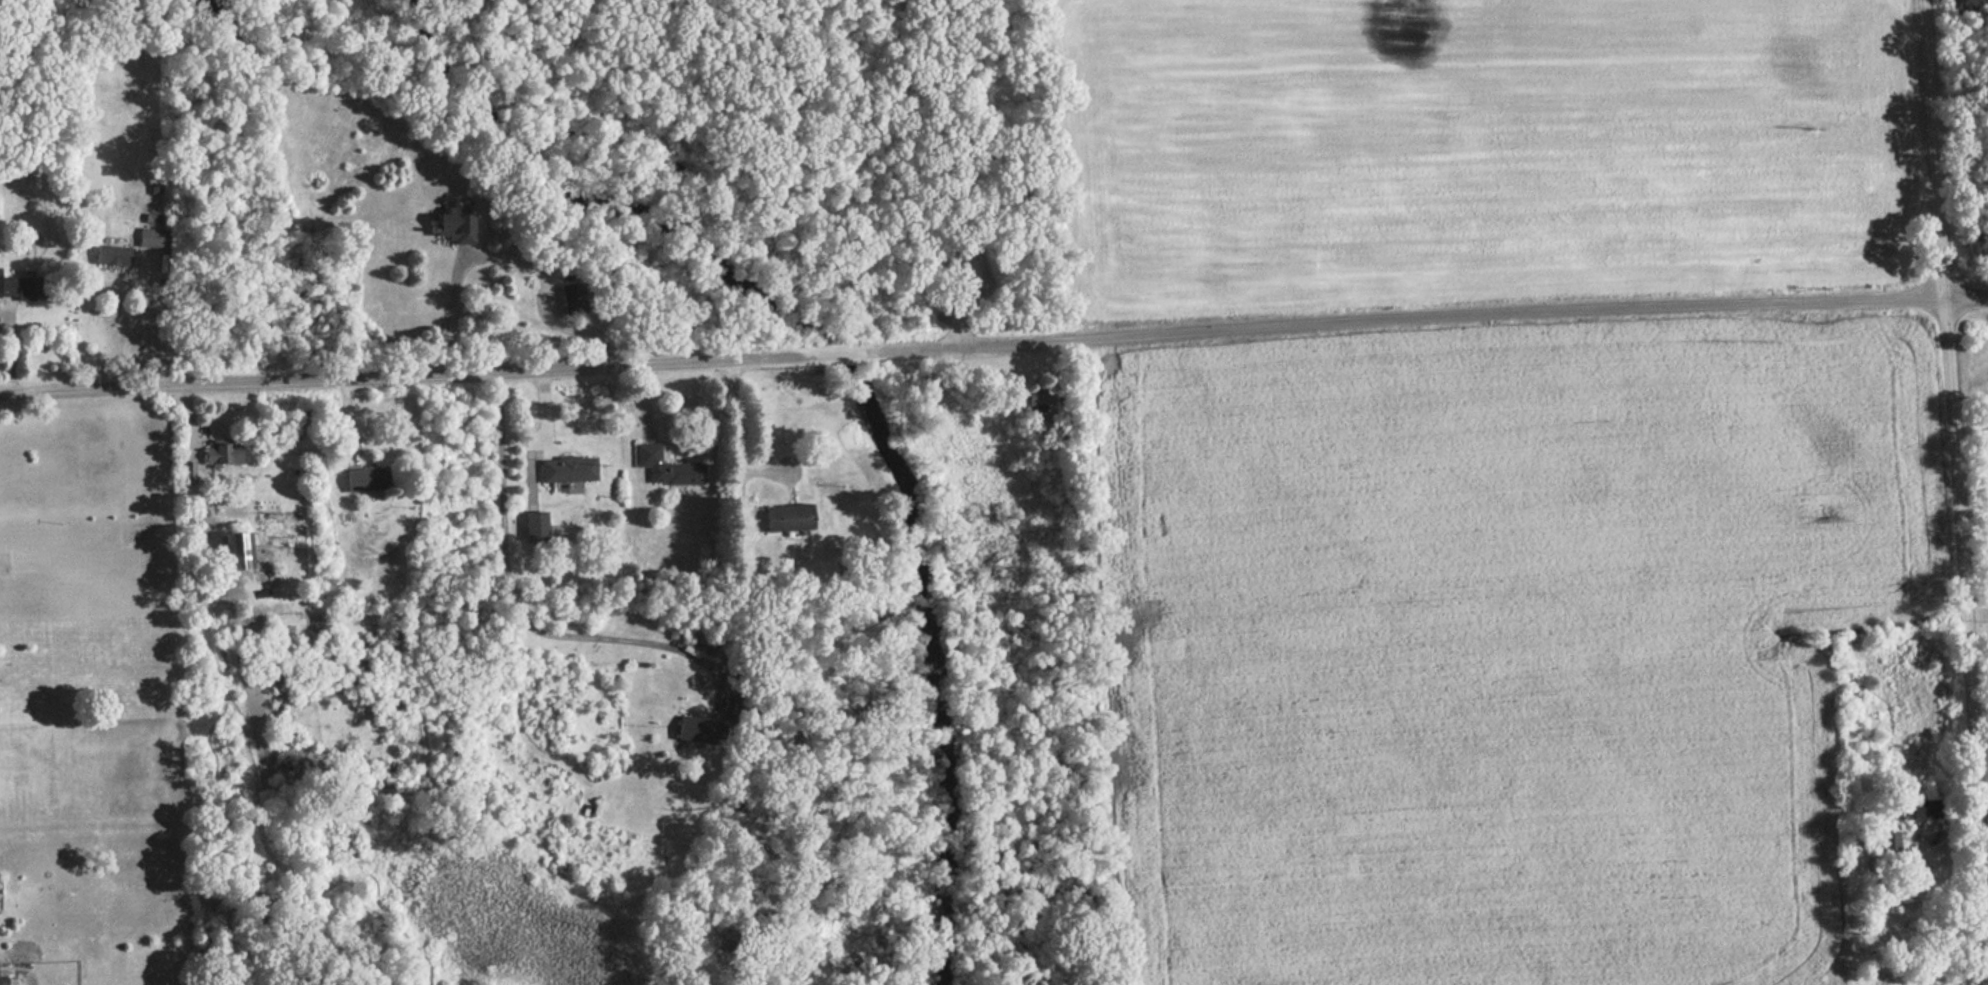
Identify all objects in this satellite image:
road: (839, 142)
crop: (1477, 147)
building: (456, 227)
building: (154, 240)
building: (114, 258)
parking lot: (967, 272)
building: (23, 291)
road: (545, 293)
road: (966, 294)
building: (574, 301)
road: (553, 304)
road: (447, 310)
road: (1428, 313)
road: (159, 330)
road: (1108, 348)
road: (11, 354)
road: (838, 354)
road: (781, 357)
road: (378, 375)
road: (1058, 387)
building: (1038, 397)
road: (644, 403)
road: (546, 413)
road: (190, 422)
road: (350, 422)
road: (732, 442)
building: (223, 455)
road: (533, 467)
building: (669, 469)
building: (570, 471)
building: (188, 474)
building: (369, 481)
road: (1956, 492)
road: (735, 498)
building: (790, 520)
road: (750, 523)
building: (537, 528)
building: (238, 554)
road: (520, 619)
crop: (1499, 641)
road: (1978, 714)
building: (731, 727)
building: (699, 733)
building: (1908, 809)
building: (4, 981)

